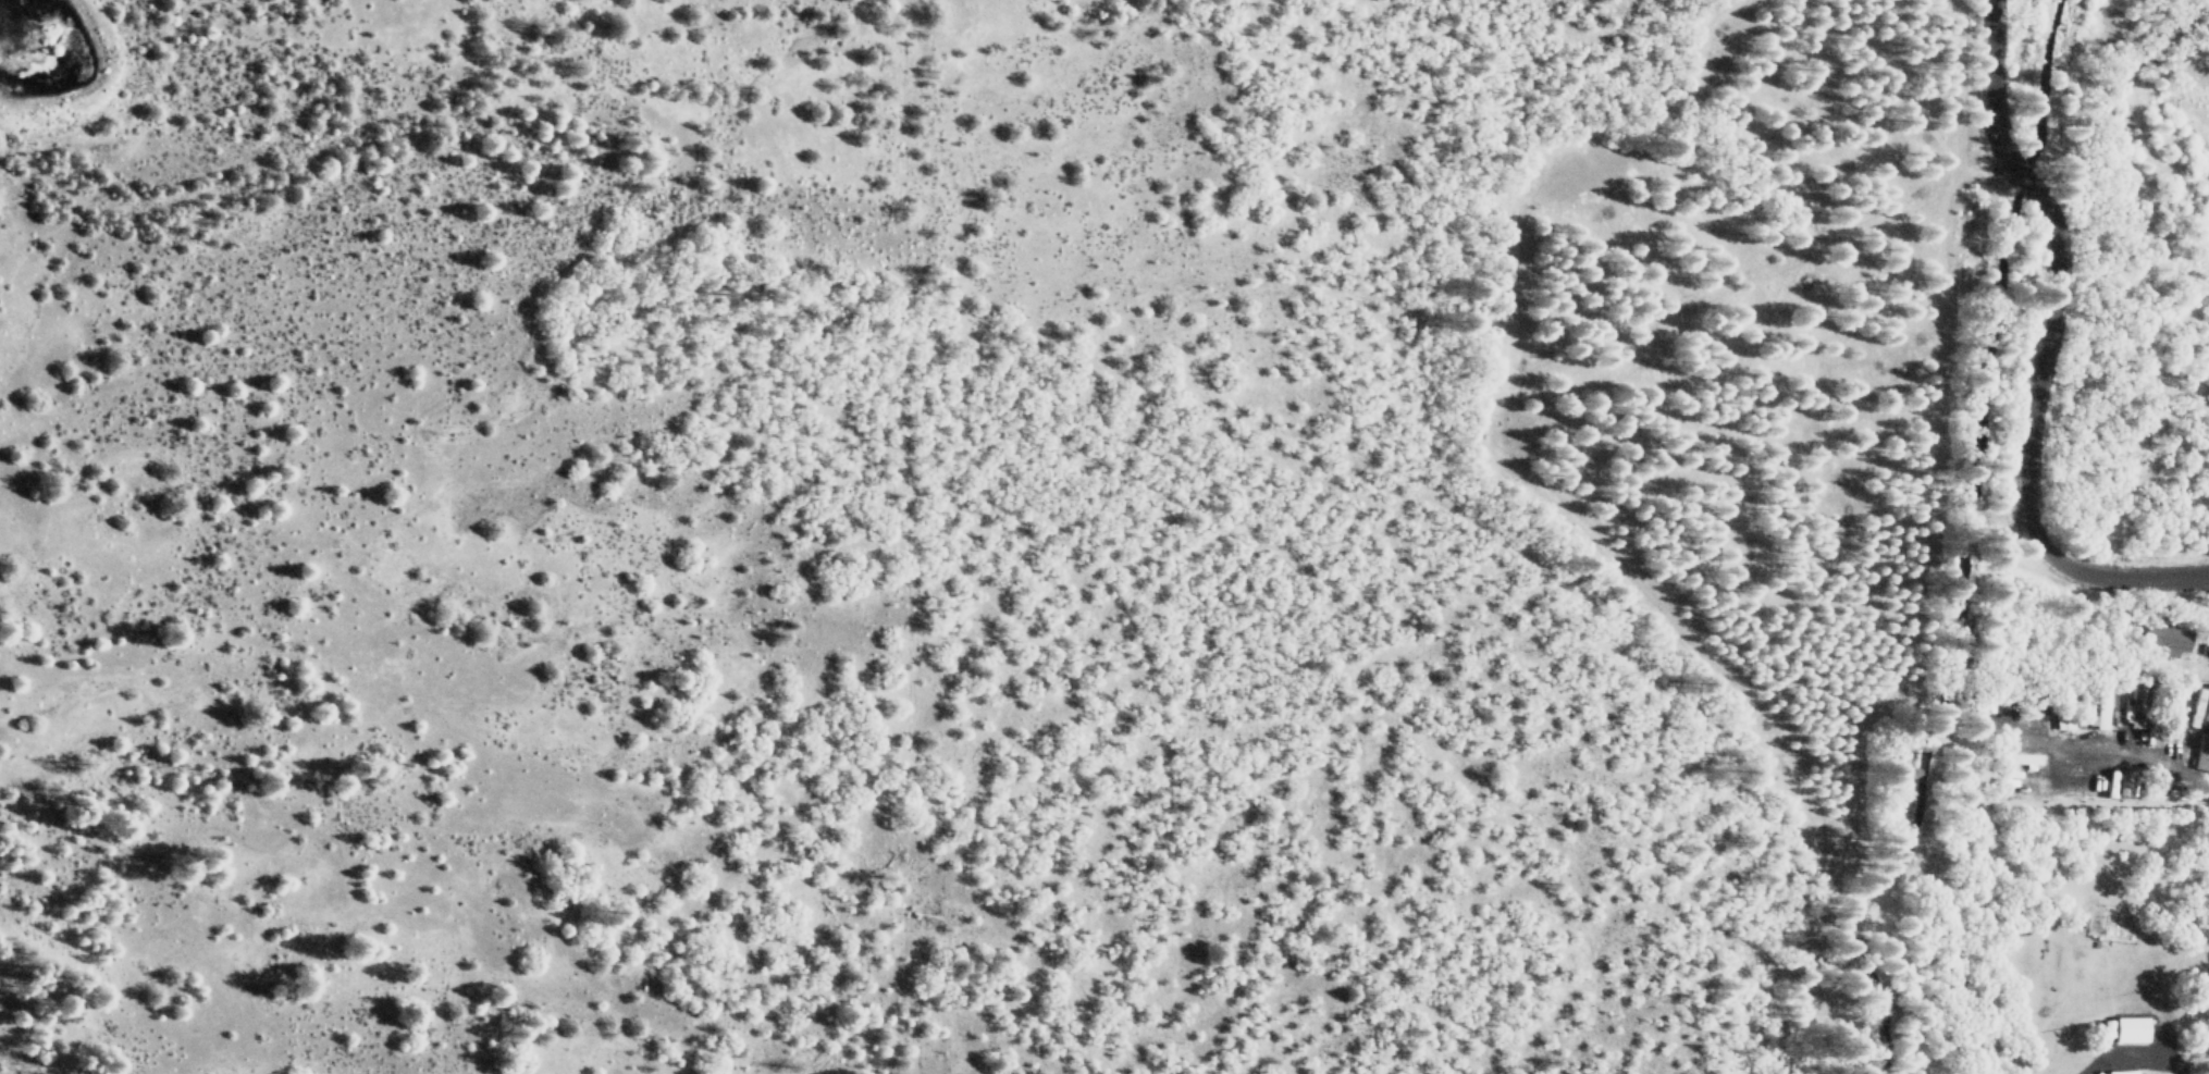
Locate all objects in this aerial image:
road: (2041, 354)
building: (2167, 635)
building: (2134, 704)
building: (2200, 729)
road: (2143, 755)
building: (2127, 1028)

